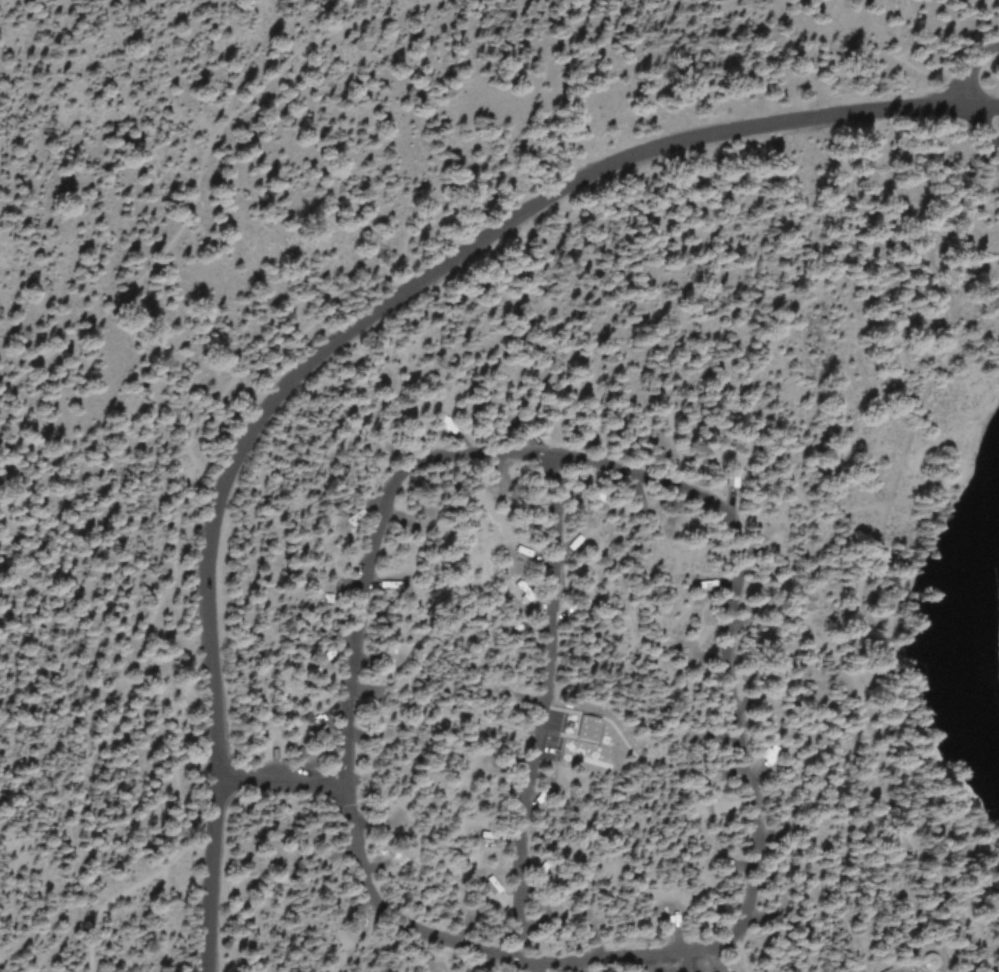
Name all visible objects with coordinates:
road: (972, 71)
road: (975, 129)
road: (200, 158)
road: (958, 247)
road: (352, 325)
road: (742, 590)
river: (955, 633)
road: (845, 649)
road: (545, 712)
building: (585, 727)
road: (708, 962)
road: (680, 963)

